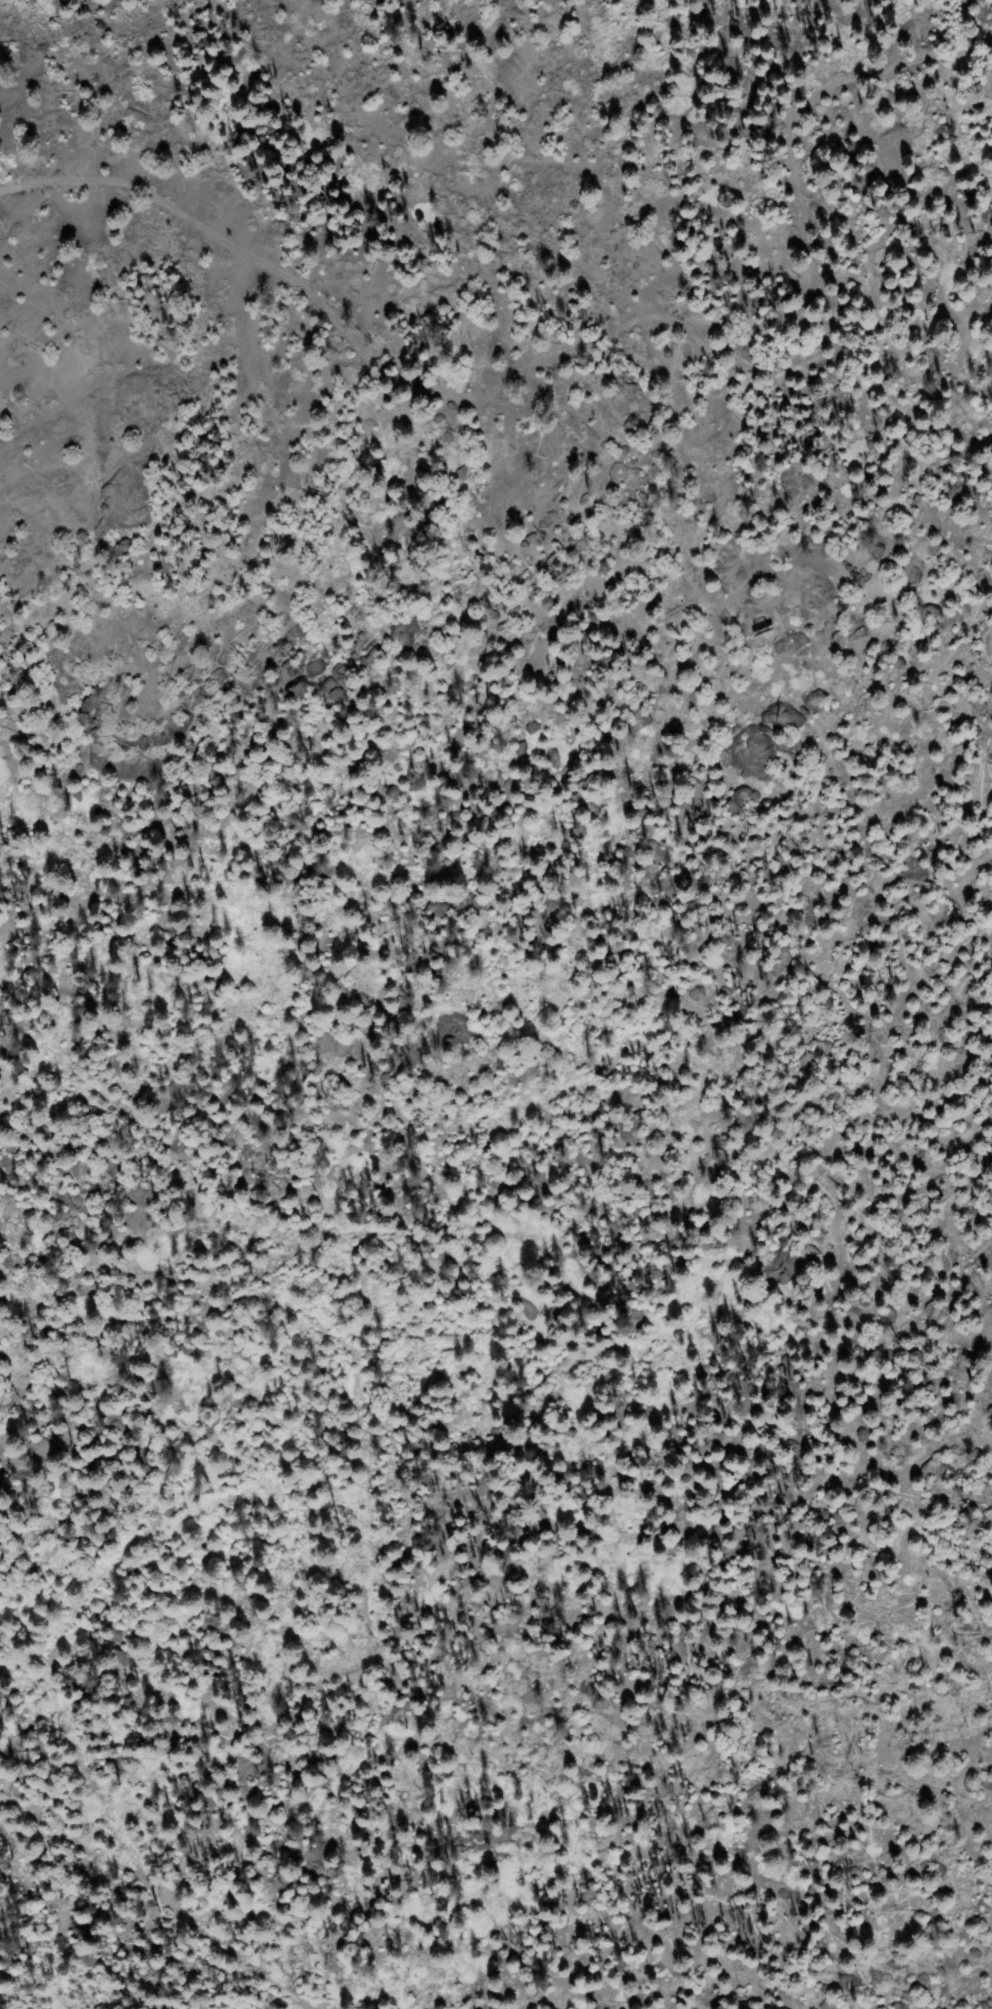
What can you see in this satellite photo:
road: (584, 416)

